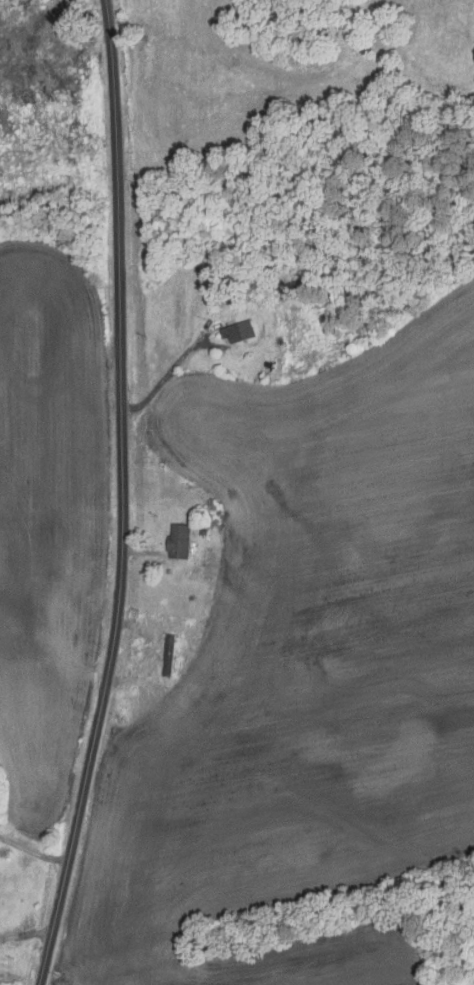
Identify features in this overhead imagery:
building: (240, 331)
building: (269, 364)
road: (163, 379)
road: (122, 496)
crop: (49, 518)
building: (204, 533)
building: (179, 541)
road: (143, 553)
building: (169, 655)
crop: (303, 675)
road: (32, 851)
road: (25, 933)

